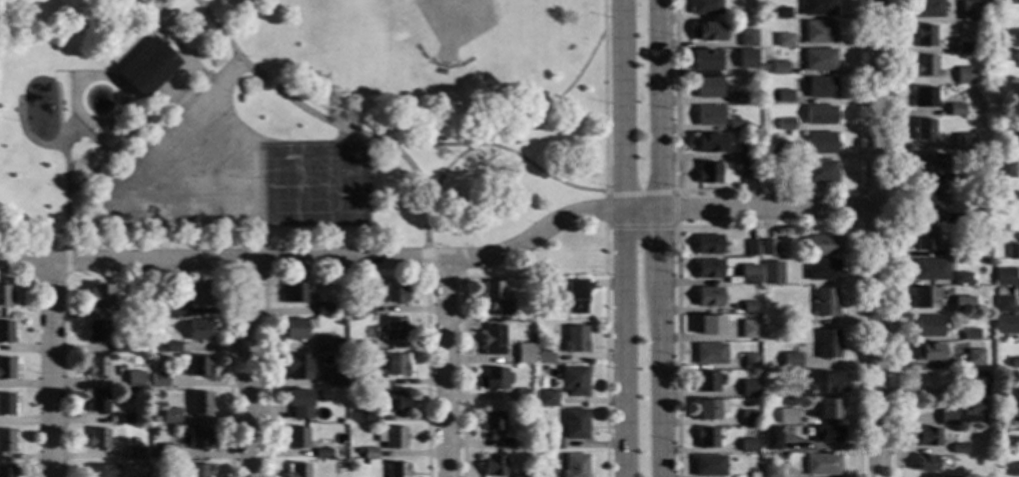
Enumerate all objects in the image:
building: (1004, 0)
building: (1014, 0)
road: (136, 4)
building: (705, 7)
building: (817, 8)
building: (926, 8)
building: (969, 10)
building: (749, 11)
building: (780, 13)
road: (153, 20)
park: (456, 29)
building: (707, 31)
building: (818, 32)
building: (923, 36)
building: (747, 38)
building: (1011, 38)
building: (784, 40)
building: (962, 44)
road: (134, 45)
building: (202, 50)
building: (1009, 56)
building: (746, 59)
building: (818, 60)
building: (704, 61)
building: (924, 66)
building: (146, 67)
building: (778, 68)
building: (764, 69)
building: (963, 76)
road: (221, 87)
building: (708, 88)
building: (820, 88)
road: (277, 90)
building: (784, 96)
road: (602, 97)
building: (924, 97)
building: (736, 98)
road: (186, 99)
road: (210, 100)
building: (955, 110)
building: (820, 115)
building: (708, 116)
park: (297, 122)
road: (138, 124)
building: (736, 125)
building: (784, 125)
building: (923, 130)
road: (516, 131)
road: (87, 132)
building: (963, 142)
building: (1010, 142)
building: (709, 143)
building: (820, 143)
road: (504, 149)
building: (785, 151)
building: (744, 152)
road: (69, 161)
building: (929, 164)
building: (1005, 169)
road: (415, 170)
building: (748, 171)
building: (820, 172)
park: (193, 173)
building: (709, 174)
building: (767, 174)
building: (949, 181)
park: (315, 186)
road: (765, 191)
building: (1011, 198)
building: (924, 202)
road: (856, 208)
building: (951, 218)
road: (674, 225)
road: (85, 226)
road: (765, 226)
road: (427, 228)
road: (627, 238)
road: (657, 238)
road: (873, 238)
road: (890, 238)
building: (924, 238)
road: (262, 239)
building: (708, 245)
building: (824, 245)
building: (751, 248)
building: (767, 248)
building: (951, 252)
building: (1012, 252)
road: (441, 261)
road: (69, 262)
road: (263, 263)
building: (709, 269)
building: (822, 269)
building: (929, 269)
building: (772, 273)
building: (748, 274)
road: (428, 275)
road: (245, 276)
building: (1003, 276)
building: (960, 277)
building: (395, 292)
building: (997, 292)
building: (197, 293)
building: (294, 293)
building: (5, 295)
building: (98, 295)
building: (575, 297)
building: (709, 297)
building: (924, 297)
building: (495, 300)
building: (825, 302)
building: (962, 304)
building: (1002, 304)
building: (530, 306)
building: (749, 307)
building: (134, 308)
building: (157, 308)
building: (324, 309)
building: (364, 310)
building: (797, 321)
building: (709, 325)
building: (927, 325)
building: (1004, 325)
building: (295, 329)
building: (393, 329)
building: (748, 329)
building: (96, 331)
building: (197, 331)
building: (5, 332)
building: (969, 334)
building: (999, 338)
building: (575, 339)
building: (492, 340)
building: (339, 341)
building: (324, 343)
building: (827, 344)
building: (364, 346)
building: (119, 347)
building: (171, 347)
building: (160, 349)
building: (927, 352)
building: (524, 353)
road: (605, 353)
building: (709, 354)
building: (973, 356)
building: (545, 357)
building: (790, 360)
building: (749, 361)
building: (1013, 362)
building: (152, 366)
building: (198, 366)
building: (396, 366)
building: (298, 367)
building: (5, 368)
building: (98, 368)
road: (248, 369)
road: (447, 369)
road: (52, 371)
building: (952, 375)
road: (228, 376)
road: (264, 376)
road: (425, 376)
road: (461, 376)
building: (335, 377)
building: (494, 379)
building: (134, 380)
building: (158, 380)
building: (574, 381)
building: (705, 381)
building: (364, 382)
building: (973, 382)
building: (833, 383)
building: (749, 388)
building: (1013, 389)
building: (800, 390)
building: (522, 395)
building: (548, 398)
building: (391, 400)
building: (97, 403)
building: (6, 404)
building: (200, 404)
building: (300, 404)
building: (826, 409)
building: (707, 410)
building: (973, 412)
building: (1012, 413)
building: (170, 416)
building: (787, 416)
building: (748, 417)
building: (946, 417)
building: (363, 418)
building: (122, 419)
building: (155, 420)
building: (493, 421)
building: (575, 424)
building: (827, 435)
building: (926, 436)
building: (297, 438)
building: (394, 438)
building: (706, 438)
building: (771, 438)
building: (199, 439)
building: (97, 440)
building: (6, 441)
building: (134, 441)
building: (530, 442)
building: (1012, 442)
building: (505, 443)
building: (552, 443)
building: (748, 445)
building: (958, 449)
building: (168, 452)
building: (369, 453)
building: (133, 454)
building: (323, 454)
building: (768, 458)
building: (925, 463)
building: (821, 465)
building: (493, 466)
building: (576, 466)
building: (709, 466)
building: (1013, 469)
building: (297, 470)
building: (398, 470)
building: (6, 471)
building: (101, 471)
building: (198, 471)
building: (771, 471)
building: (154, 473)
building: (754, 473)
building: (519, 476)
building: (950, 476)

